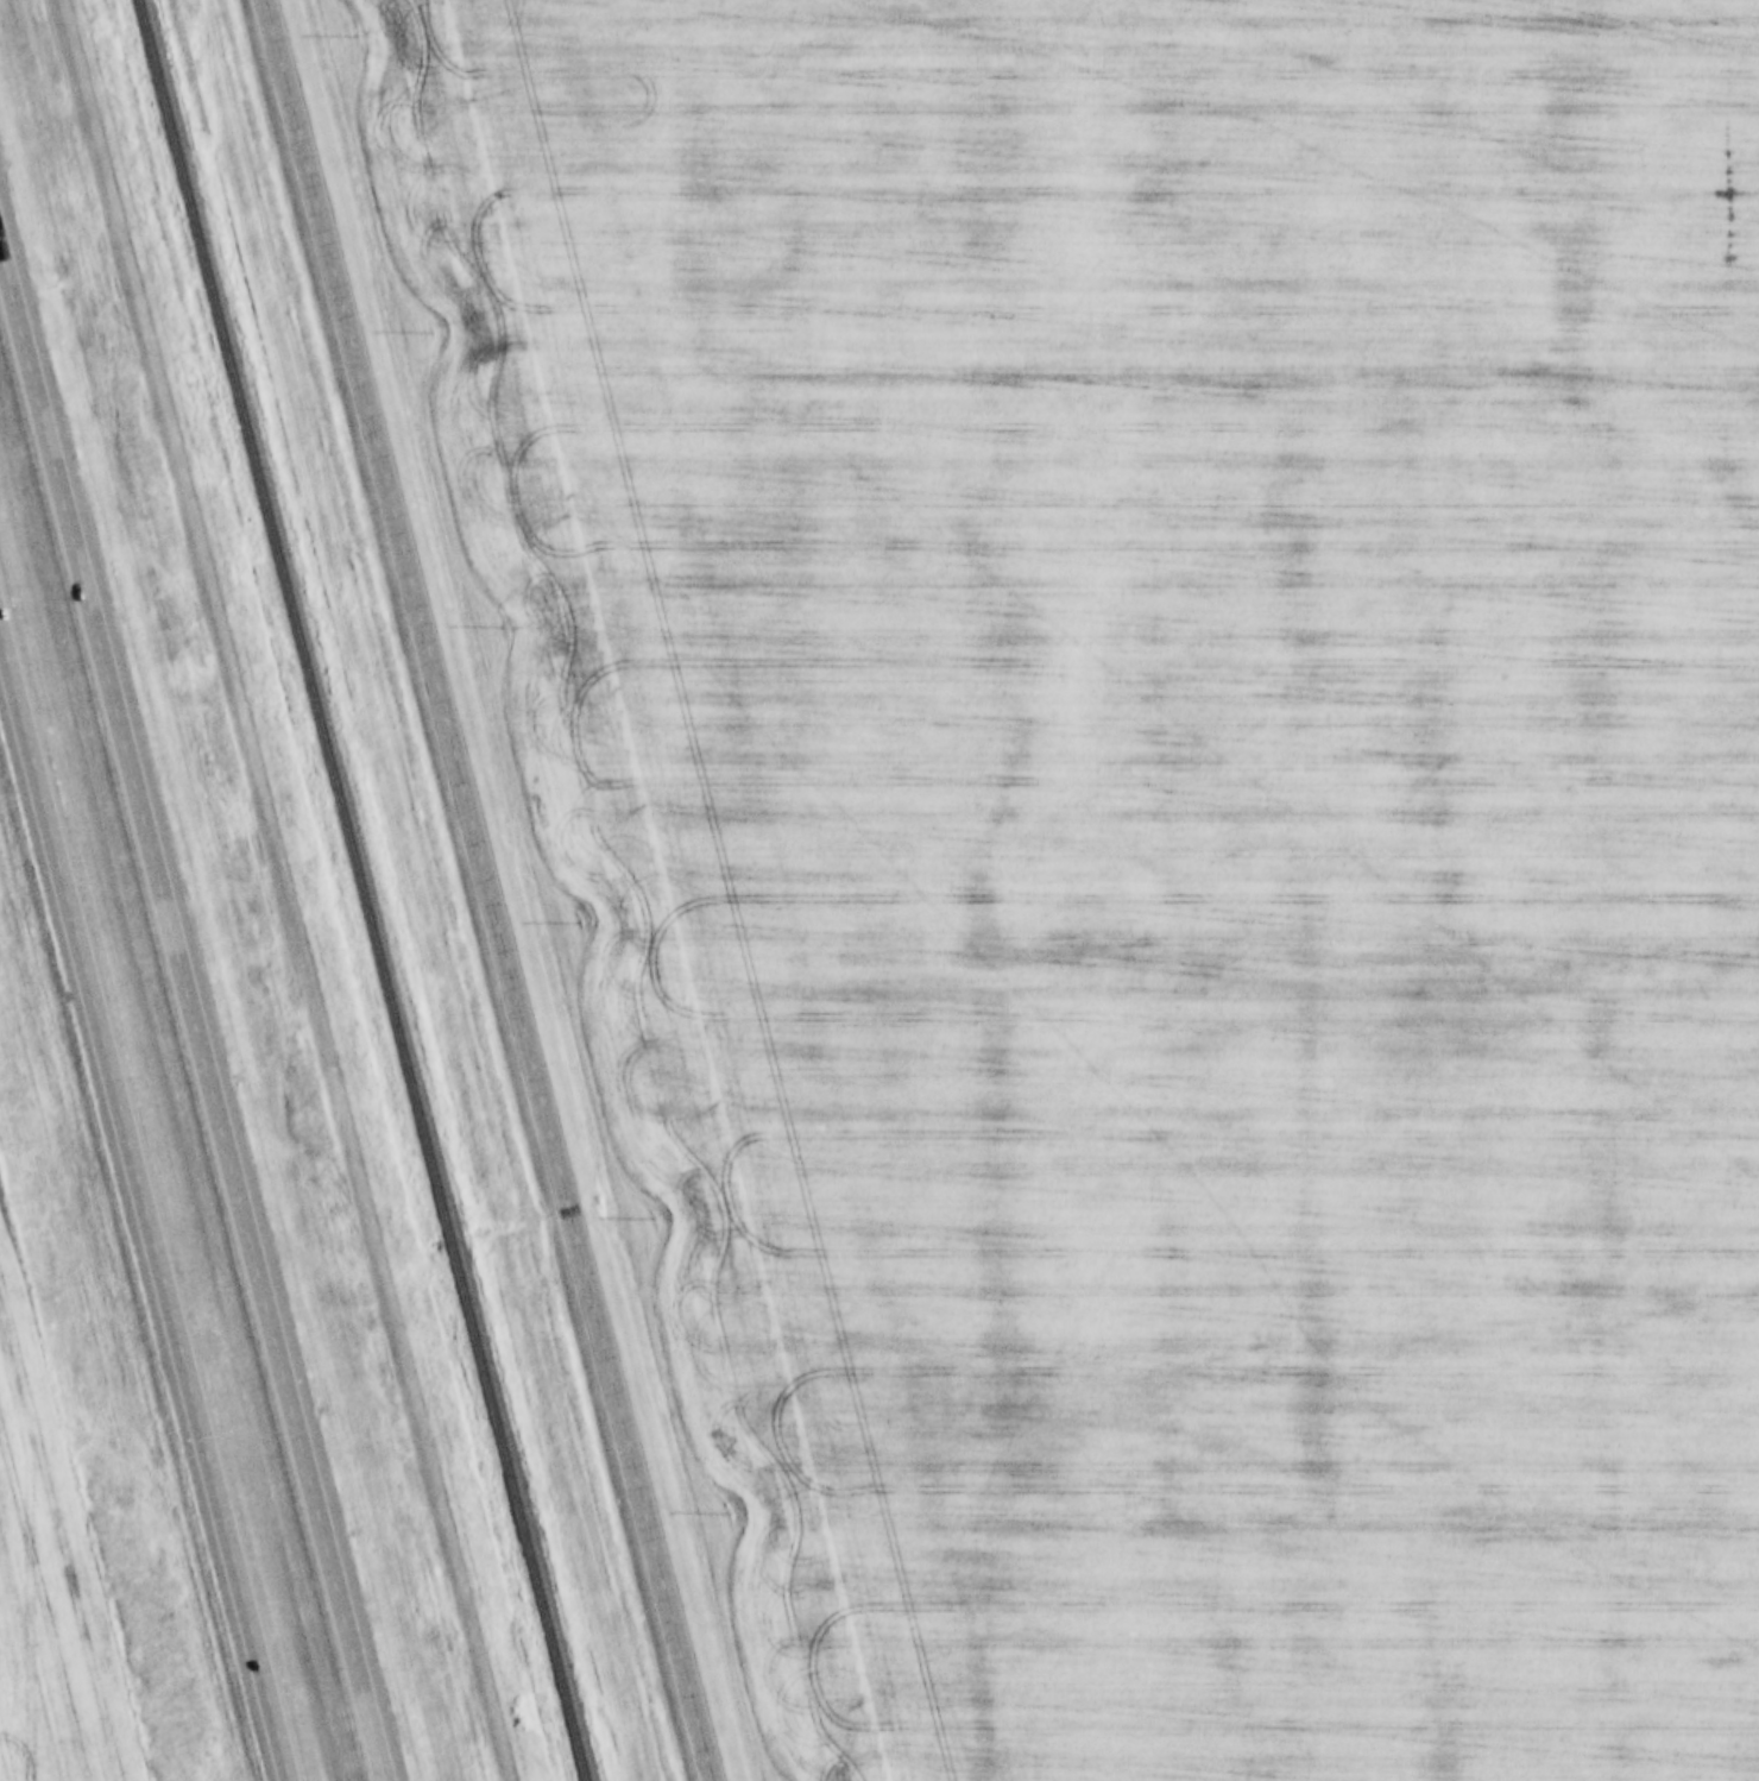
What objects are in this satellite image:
crop: (1153, 835)
road: (492, 889)
railway: (360, 890)
road: (190, 1017)
road: (145, 1209)
crop: (56, 1568)

